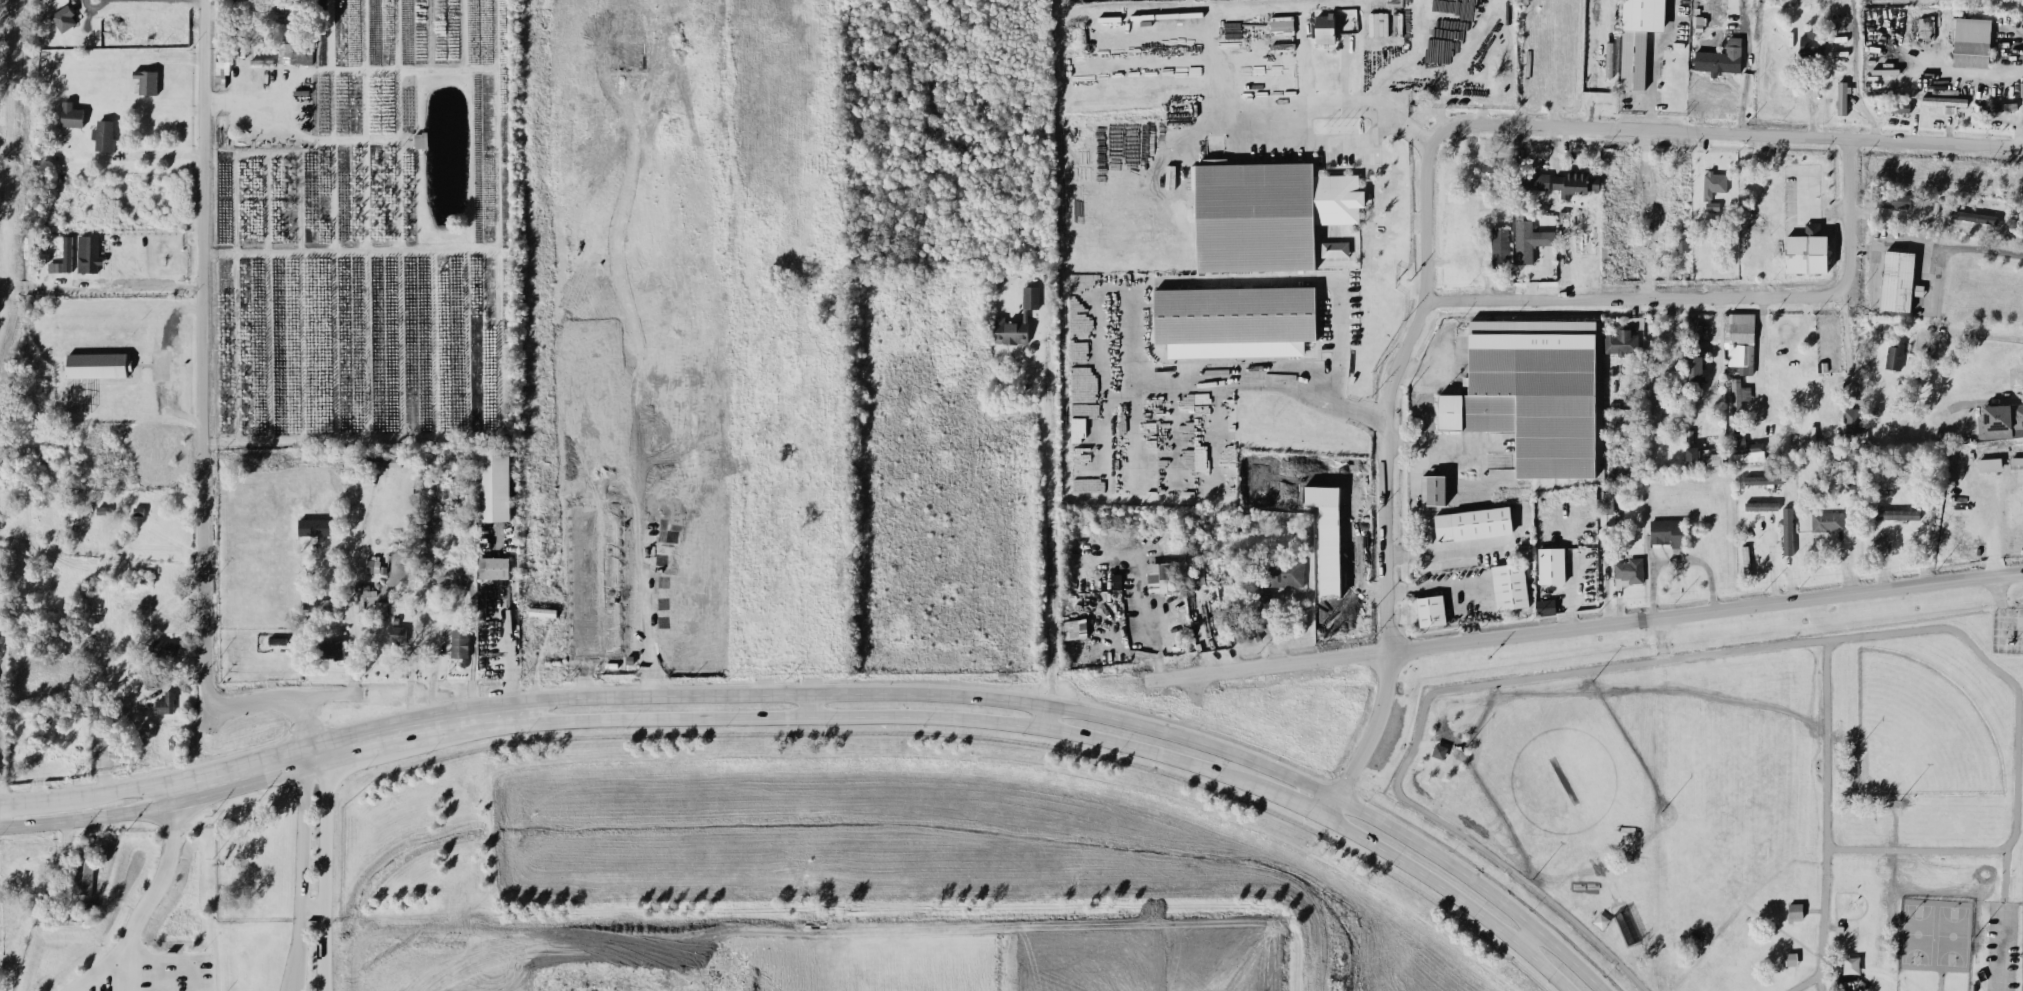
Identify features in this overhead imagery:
building: (64, 18)
building: (1372, 21)
building: (1282, 23)
building: (1925, 27)
building: (1325, 28)
building: (1638, 38)
building: (1971, 41)
building: (1812, 42)
building: (297, 52)
building: (1721, 57)
road: (1653, 58)
road: (1747, 64)
road: (350, 69)
building: (147, 80)
building: (1842, 97)
road: (1329, 104)
building: (2001, 106)
building: (72, 114)
building: (104, 134)
road: (1363, 141)
road: (399, 158)
building: (1494, 169)
building: (1535, 180)
building: (1576, 183)
building: (1713, 187)
road: (1430, 190)
building: (1893, 199)
road: (1651, 209)
building: (1267, 213)
building: (1973, 216)
building: (1529, 240)
building: (1682, 244)
road: (1938, 245)
building: (1500, 247)
road: (358, 248)
building: (1334, 248)
building: (1807, 250)
building: (89, 253)
building: (64, 257)
road: (1184, 277)
building: (1897, 280)
road: (126, 287)
road: (1714, 294)
building: (1030, 296)
building: (1235, 320)
building: (1011, 329)
building: (1694, 331)
road: (1982, 334)
road: (1847, 338)
building: (1621, 342)
road: (1761, 356)
building: (1894, 356)
road: (161, 362)
road: (1715, 363)
building: (98, 364)
building: (1694, 368)
building: (1532, 392)
building: (1739, 397)
building: (1851, 420)
building: (2003, 420)
building: (1083, 421)
road: (203, 426)
road: (637, 427)
road: (362, 436)
building: (1746, 449)
building: (1704, 456)
building: (382, 460)
building: (1989, 464)
building: (1763, 479)
building: (493, 483)
building: (1433, 489)
building: (1761, 505)
building: (104, 509)
building: (1898, 513)
building: (1827, 520)
road: (1047, 523)
building: (1473, 523)
building: (315, 526)
building: (1787, 530)
building: (1667, 531)
road: (1445, 550)
road: (1771, 561)
building: (373, 565)
building: (1551, 565)
building: (494, 567)
building: (1630, 569)
building: (1279, 571)
building: (1162, 576)
building: (1195, 577)
building: (1510, 585)
road: (349, 591)
building: (1546, 606)
building: (1431, 610)
road: (1585, 623)
building: (1073, 628)
building: (398, 633)
building: (459, 642)
road: (511, 644)
building: (165, 648)
building: (331, 649)
road: (511, 683)
road: (753, 692)
building: (166, 702)
road: (809, 703)
road: (753, 715)
road: (1045, 716)
road: (309, 721)
road: (350, 741)
road: (1123, 747)
road: (315, 749)
building: (1439, 750)
road: (1318, 787)
road: (88, 794)
road: (1294, 801)
road: (89, 816)
building: (84, 872)
road: (1451, 894)
road: (146, 904)
road: (1529, 939)
landfill: (779, 949)
road: (2003, 955)
road: (177, 958)
road: (130, 963)

